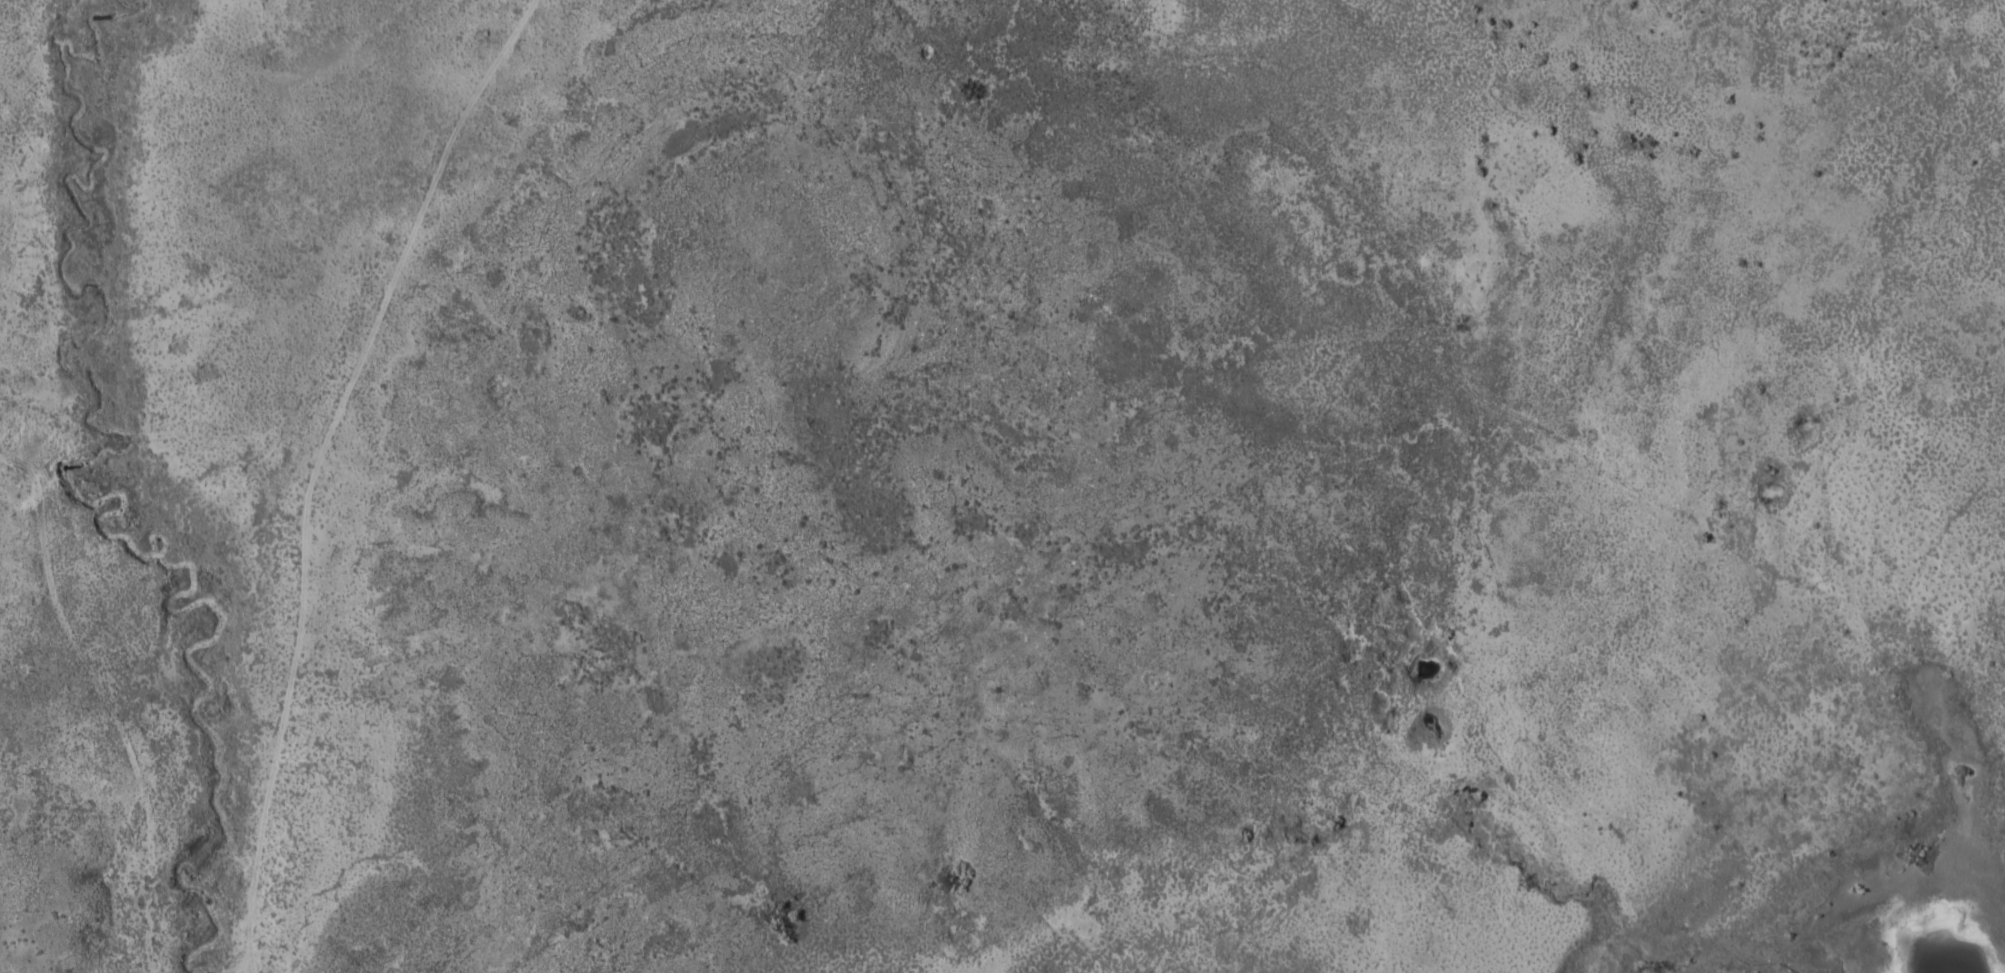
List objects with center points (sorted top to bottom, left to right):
river: (94, 463)
road: (314, 464)

